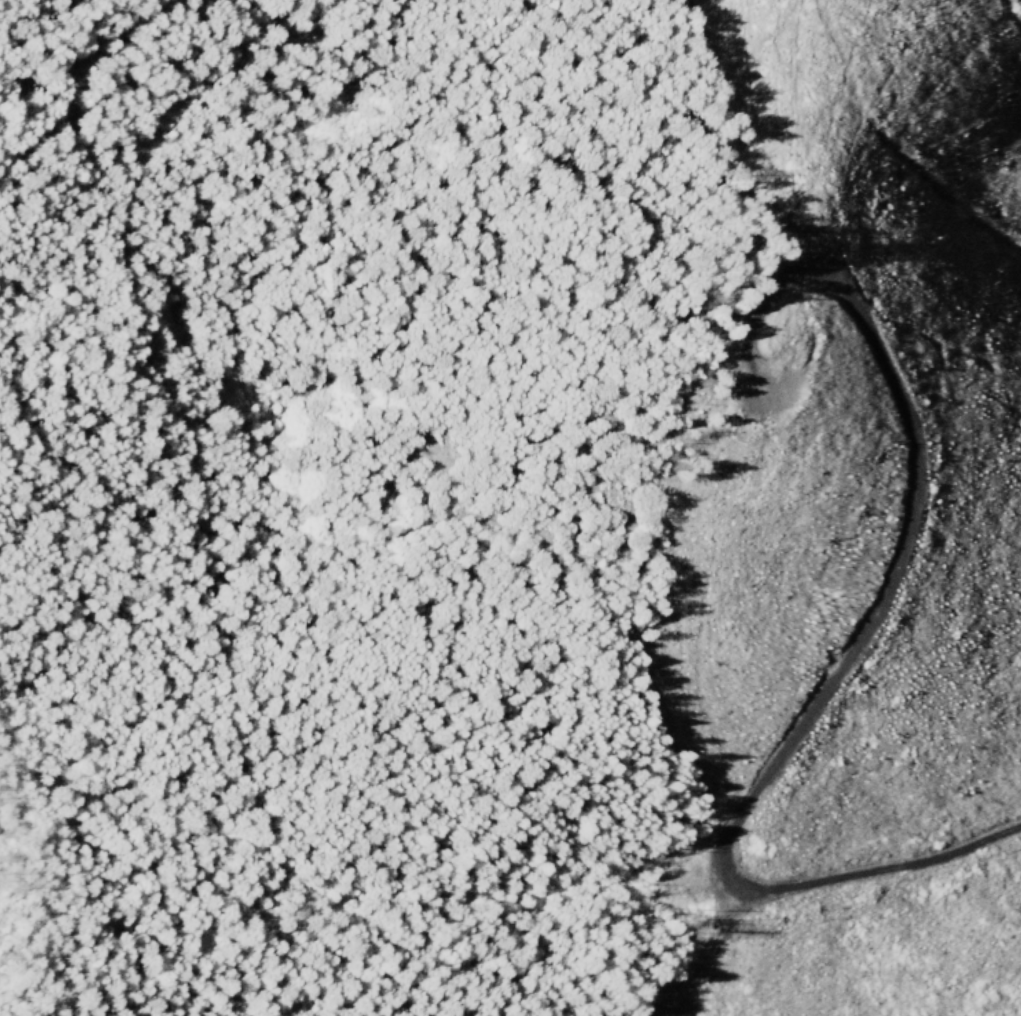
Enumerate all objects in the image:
road: (75, 72)

